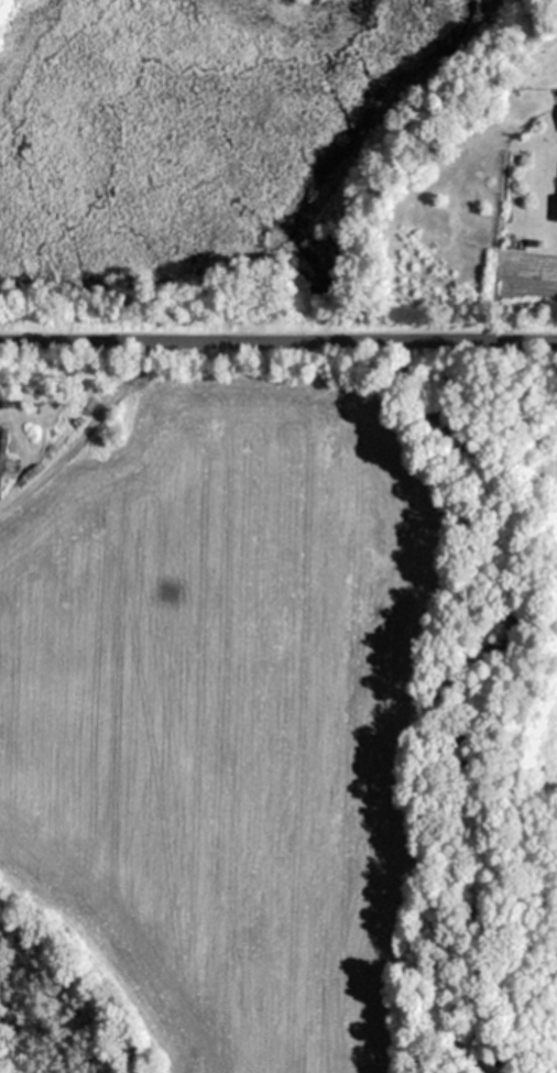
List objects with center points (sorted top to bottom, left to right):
road: (278, 338)

